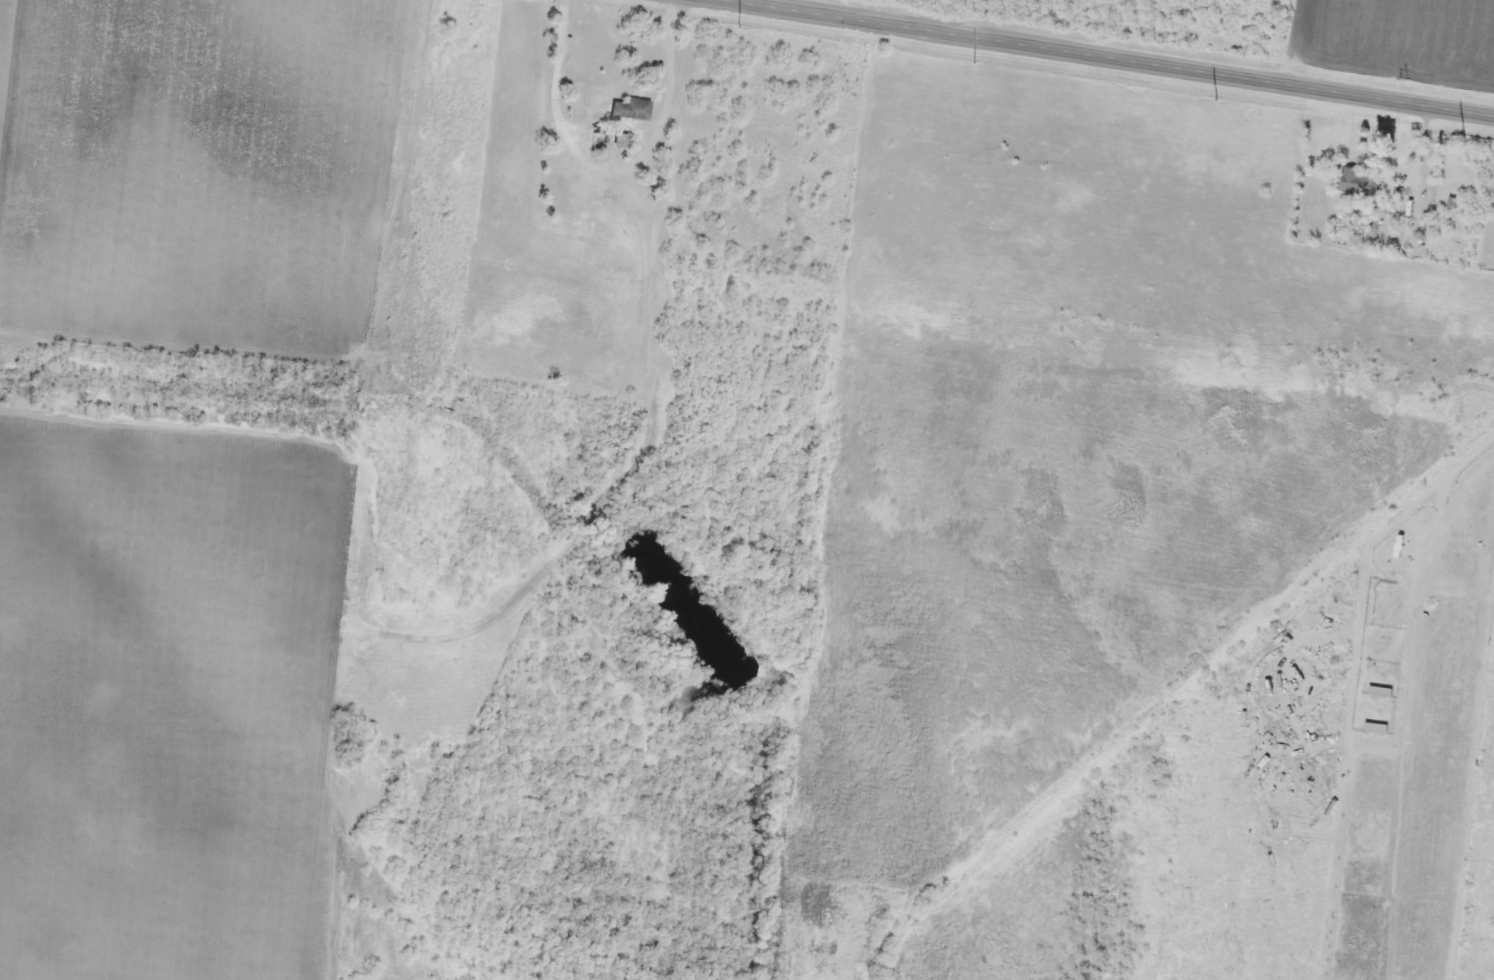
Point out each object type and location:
road: (1103, 58)
building: (631, 107)
building: (1358, 181)

